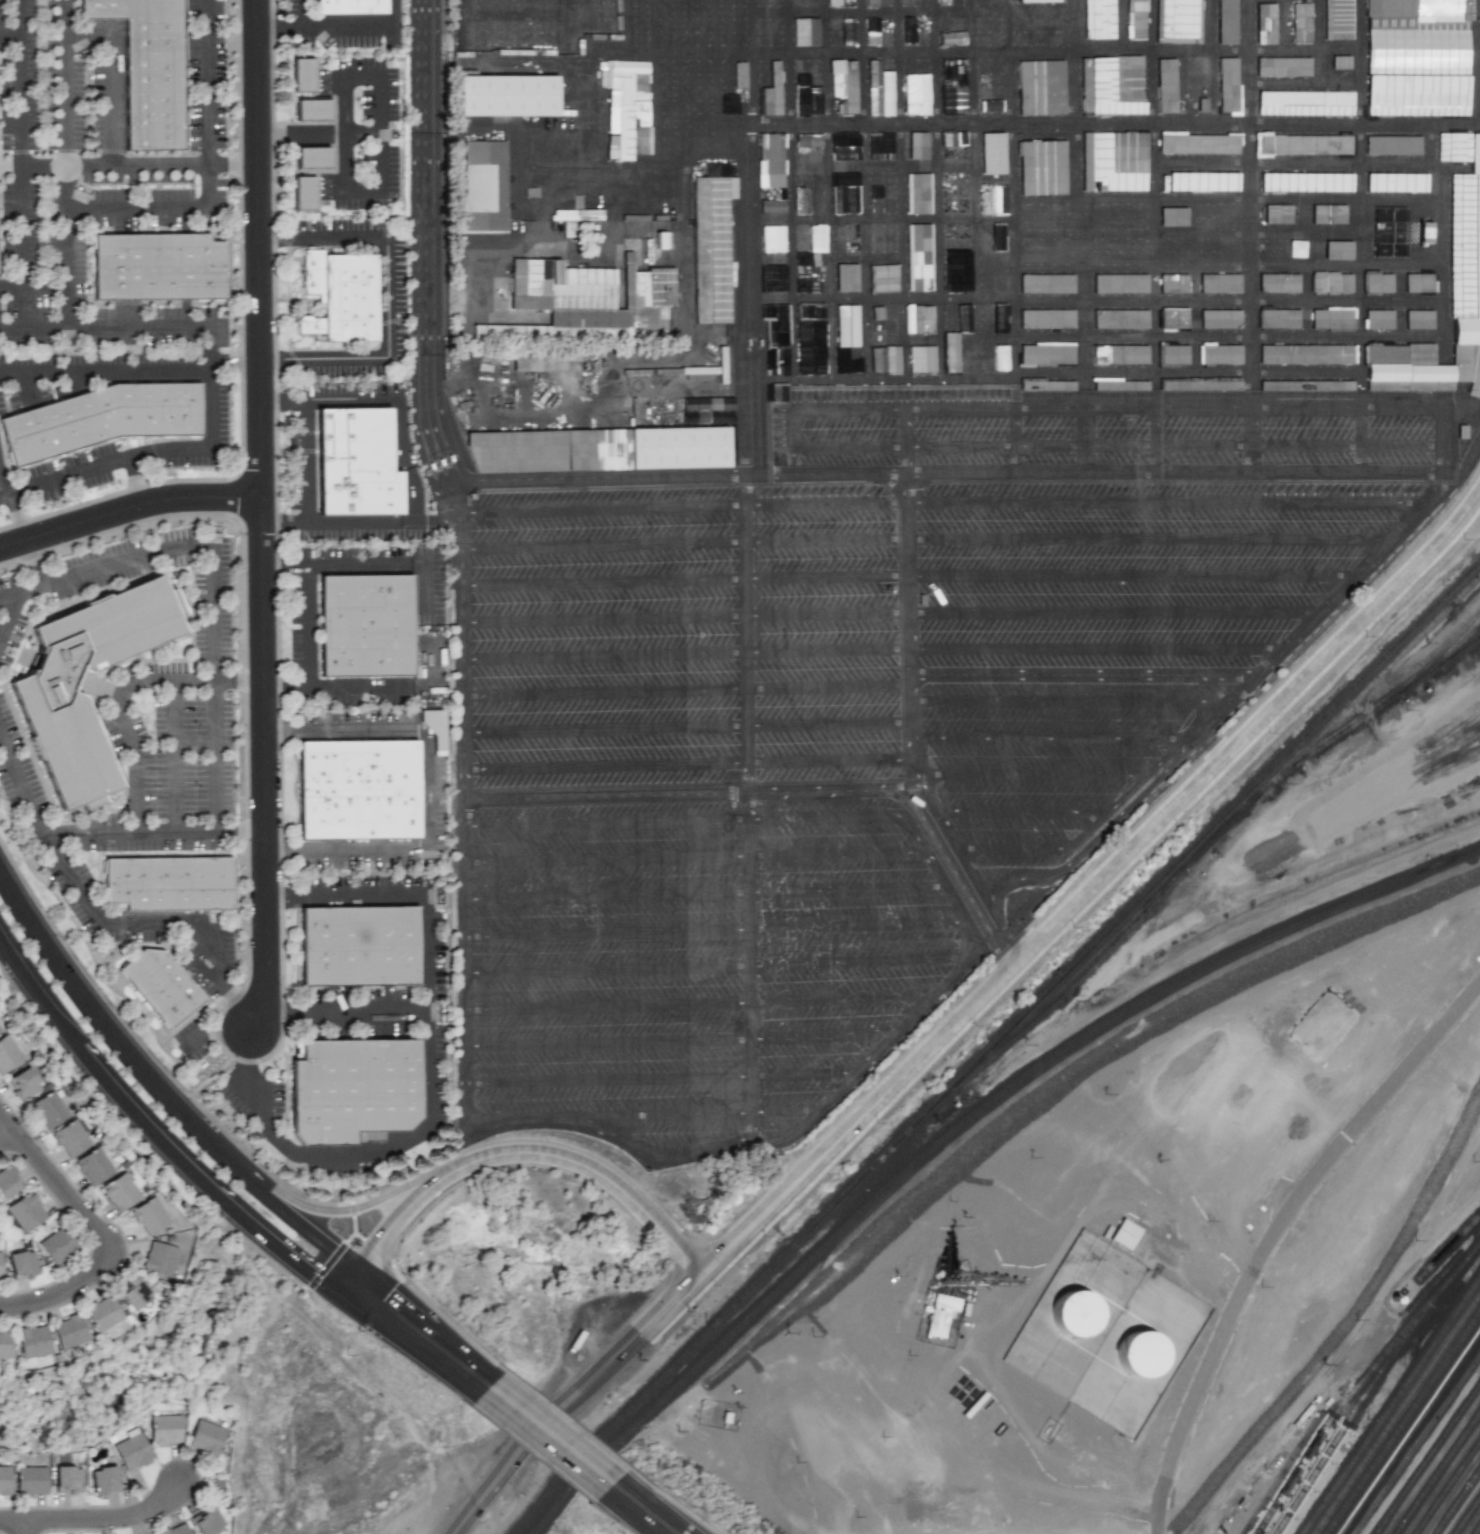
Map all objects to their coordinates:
building: (1037, 0)
building: (834, 2)
building: (353, 7)
road: (1038, 11)
road: (301, 13)
building: (1137, 18)
building: (1100, 19)
building: (1342, 19)
building: (1178, 21)
building: (1229, 22)
building: (1304, 23)
building: (1268, 24)
road: (504, 25)
road: (542, 25)
road: (580, 25)
road: (617, 25)
road: (653, 25)
road: (680, 25)
road: (716, 25)
road: (752, 25)
road: (1286, 25)
road: (338, 27)
building: (871, 31)
building: (806, 32)
road: (10, 34)
building: (848, 34)
building: (733, 39)
road: (1319, 42)
road: (1097, 49)
road: (912, 50)
road: (1161, 50)
road: (1284, 50)
road: (583, 51)
building: (1344, 57)
building: (1416, 58)
road: (1213, 61)
road: (1359, 61)
building: (1286, 68)
building: (150, 69)
building: (305, 75)
building: (740, 75)
building: (801, 75)
road: (109, 83)
road: (1303, 85)
road: (1478, 85)
building: (768, 86)
building: (843, 86)
building: (1115, 86)
building: (1232, 86)
building: (704, 87)
building: (1043, 87)
building: (1169, 87)
road: (1183, 87)
building: (1199, 87)
building: (879, 90)
building: (916, 94)
building: (512, 96)
building: (953, 100)
road: (1009, 100)
road: (1072, 100)
building: (810, 103)
building: (729, 104)
building: (1306, 104)
road: (682, 105)
road: (719, 105)
building: (626, 107)
building: (316, 111)
road: (19, 112)
road: (651, 120)
road: (1479, 122)
road: (879, 123)
road: (1129, 123)
road: (1377, 123)
road: (607, 126)
building: (705, 127)
building: (952, 139)
building: (808, 140)
building: (880, 144)
building: (1202, 145)
building: (844, 146)
building: (1305, 146)
building: (1396, 146)
building: (1454, 147)
building: (992, 153)
road: (70, 154)
building: (316, 160)
building: (770, 160)
building: (1115, 163)
road: (1309, 164)
road: (567, 166)
building: (1045, 169)
building: (918, 173)
road: (380, 174)
road: (639, 174)
building: (1199, 182)
building: (1307, 182)
building: (1398, 185)
building: (488, 187)
road: (790, 188)
road: (828, 188)
road: (864, 188)
road: (901, 188)
road: (936, 188)
road: (1154, 191)
building: (844, 193)
building: (307, 195)
road: (1360, 195)
building: (998, 200)
road: (566, 201)
building: (801, 201)
road: (202, 206)
building: (771, 206)
building: (1278, 214)
building: (1329, 214)
building: (1173, 216)
building: (1038, 217)
building: (1236, 218)
road: (20, 229)
road: (1227, 231)
building: (1389, 232)
building: (1425, 232)
building: (996, 236)
road: (1250, 236)
building: (773, 239)
building: (662, 240)
road: (599, 242)
building: (1462, 246)
building: (1297, 248)
building: (710, 249)
building: (1339, 250)
building: (1140, 251)
building: (1027, 252)
building: (1235, 252)
building: (919, 257)
building: (1098, 257)
road: (748, 262)
road: (618, 265)
road: (1206, 268)
building: (159, 269)
building: (957, 271)
building: (992, 277)
building: (773, 278)
building: (846, 278)
building: (802, 280)
building: (1048, 282)
building: (1309, 284)
building: (1124, 285)
building: (1203, 285)
building: (1402, 285)
road: (52, 286)
road: (1084, 289)
road: (387, 296)
road: (1116, 297)
building: (343, 298)
building: (581, 301)
road: (975, 301)
road: (1441, 312)
road: (504, 316)
building: (965, 317)
building: (1000, 317)
building: (1048, 317)
building: (890, 318)
road: (1359, 319)
building: (1204, 320)
building: (1309, 320)
building: (1402, 320)
road: (209, 321)
road: (1012, 321)
building: (1124, 321)
building: (776, 324)
building: (847, 326)
building: (810, 339)
building: (924, 345)
building: (1048, 352)
building: (1386, 354)
building: (1420, 354)
building: (954, 355)
building: (1308, 355)
building: (1123, 356)
building: (1202, 356)
building: (995, 358)
building: (877, 360)
building: (526, 362)
building: (780, 362)
building: (848, 365)
building: (1467, 366)
building: (708, 369)
road: (1112, 370)
road: (1304, 370)
road: (105, 371)
road: (1359, 376)
building: (586, 379)
building: (1408, 384)
building: (1047, 385)
building: (1120, 385)
building: (1201, 385)
building: (1306, 385)
road: (27, 386)
road: (904, 386)
building: (776, 391)
road: (369, 398)
road: (539, 411)
building: (707, 417)
building: (98, 421)
road: (794, 428)
road: (580, 433)
road: (1084, 439)
road: (1155, 439)
road: (1361, 439)
road: (1442, 439)
road: (1015, 440)
road: (768, 442)
building: (678, 448)
building: (611, 449)
building: (518, 450)
road: (432, 451)
building: (355, 465)
road: (707, 475)
road: (70, 476)
road: (138, 481)
road: (1193, 482)
road: (452, 483)
road: (4, 485)
road: (670, 485)
road: (4, 495)
road: (940, 501)
road: (128, 510)
road: (261, 515)
street lamp: (162, 522)
road: (327, 527)
street lamp: (239, 533)
road: (27, 538)
road: (1150, 538)
street lamp: (120, 540)
street lamp: (1464, 541)
road: (683, 543)
road: (190, 545)
road: (323, 568)
road: (282, 569)
road: (908, 574)
road: (909, 596)
road: (6, 608)
road: (1113, 612)
road: (684, 616)
street lamp: (284, 627)
building: (366, 628)
street lamp: (233, 629)
street lamp: (1368, 637)
railway: (1467, 645)
road: (870, 649)
railway: (1447, 652)
road: (1082, 675)
road: (1, 685)
road: (332, 686)
road: (686, 690)
building: (43, 695)
road: (1070, 700)
railway: (1377, 708)
road: (686, 726)
parking lot: (854, 726)
road: (126, 732)
street lamp: (1270, 734)
road: (172, 736)
road: (1050, 738)
road: (1210, 744)
road: (27, 748)
road: (1179, 750)
road: (686, 764)
road: (1033, 774)
road: (826, 780)
road: (895, 786)
building: (357, 791)
road: (429, 791)
road: (691, 793)
road: (913, 795)
road: (748, 809)
road: (1026, 810)
road: (702, 819)
street lamp: (1175, 827)
road: (206, 829)
railway: (1217, 840)
road: (1019, 848)
road: (694, 857)
building: (169, 885)
road: (462, 885)
road: (963, 887)
road: (705, 892)
road: (402, 893)
road: (108, 925)
road: (715, 929)
street lamp: (1072, 930)
street lamp: (65, 936)
road: (282, 950)
building: (363, 952)
road: (715, 966)
road: (993, 985)
building: (159, 986)
road: (928, 1001)
road: (700, 1003)
street lamp: (974, 1027)
road: (215, 1029)
building: (0, 1031)
road: (125, 1031)
road: (681, 1040)
railway: (996, 1046)
building: (8, 1053)
road: (662, 1078)
street lamp: (80, 1080)
building: (23, 1083)
building: (347, 1091)
building: (49, 1109)
road: (695, 1114)
street lamp: (876, 1125)
railway: (961, 1125)
road: (423, 1131)
road: (6, 1136)
building: (71, 1137)
road: (155, 1146)
road: (714, 1150)
road: (523, 1152)
street lamp: (19, 1162)
building: (95, 1165)
road: (279, 1180)
building: (8, 1181)
building: (120, 1192)
road: (365, 1204)
building: (25, 1212)
building: (149, 1215)
street lamp: (215, 1217)
road: (98, 1232)
road: (321, 1232)
road: (1269, 1232)
building: (1124, 1234)
road: (361, 1238)
street lamp: (763, 1238)
street lamp: (128, 1244)
building: (58, 1245)
traffic signals: (383, 1245)
railway: (1451, 1248)
building: (159, 1258)
building: (23, 1264)
building: (1, 1266)
traffic signals: (298, 1276)
street lamp: (714, 1287)
building: (134, 1292)
street lamp: (75, 1303)
traffic signals: (381, 1304)
building: (940, 1314)
building: (103, 1315)
building: (1074, 1315)
storage tank: (1074, 1315)
building: (69, 1330)
road: (420, 1335)
building: (5, 1342)
building: (33, 1342)
building: (1140, 1355)
storage tank: (1140, 1355)
railway: (1361, 1382)
railway: (1370, 1390)
railway: (1392, 1407)
railway: (1398, 1415)
railway: (1404, 1424)
building: (166, 1429)
railway: (1410, 1433)
building: (206, 1438)
road: (547, 1438)
railway: (1418, 1446)
building: (132, 1449)
road: (1256, 1459)
railway: (1428, 1459)
street lamp: (162, 1467)
railway: (1438, 1474)
building: (68, 1478)
building: (104, 1478)
building: (31, 1479)
building: (5, 1480)
railway: (1448, 1488)
road: (479, 1503)
railway: (1458, 1503)
road: (640, 1510)
railway: (1468, 1517)
road: (108, 1519)
building: (207, 1520)
road: (11, 1521)
road: (23, 1527)
building: (174, 1529)
railway: (1478, 1531)

